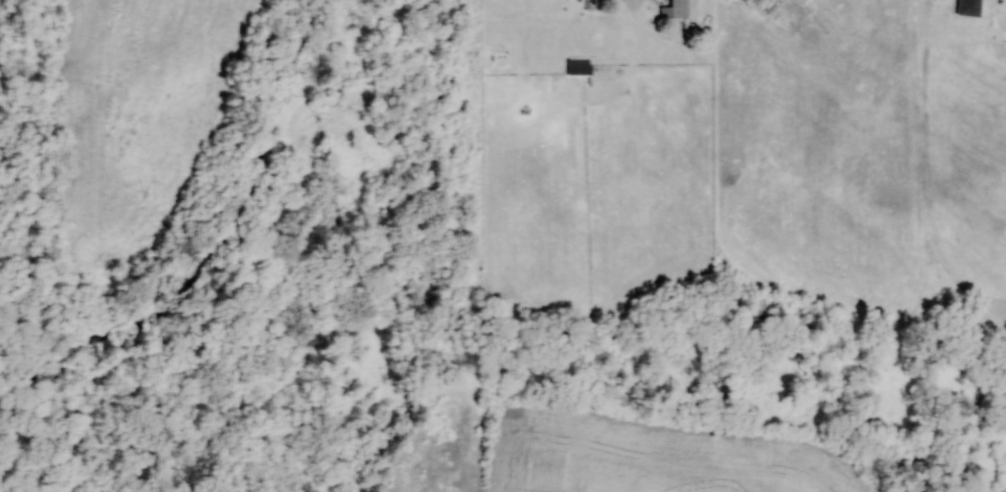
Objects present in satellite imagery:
building: (970, 7)
building: (676, 8)
building: (579, 66)

